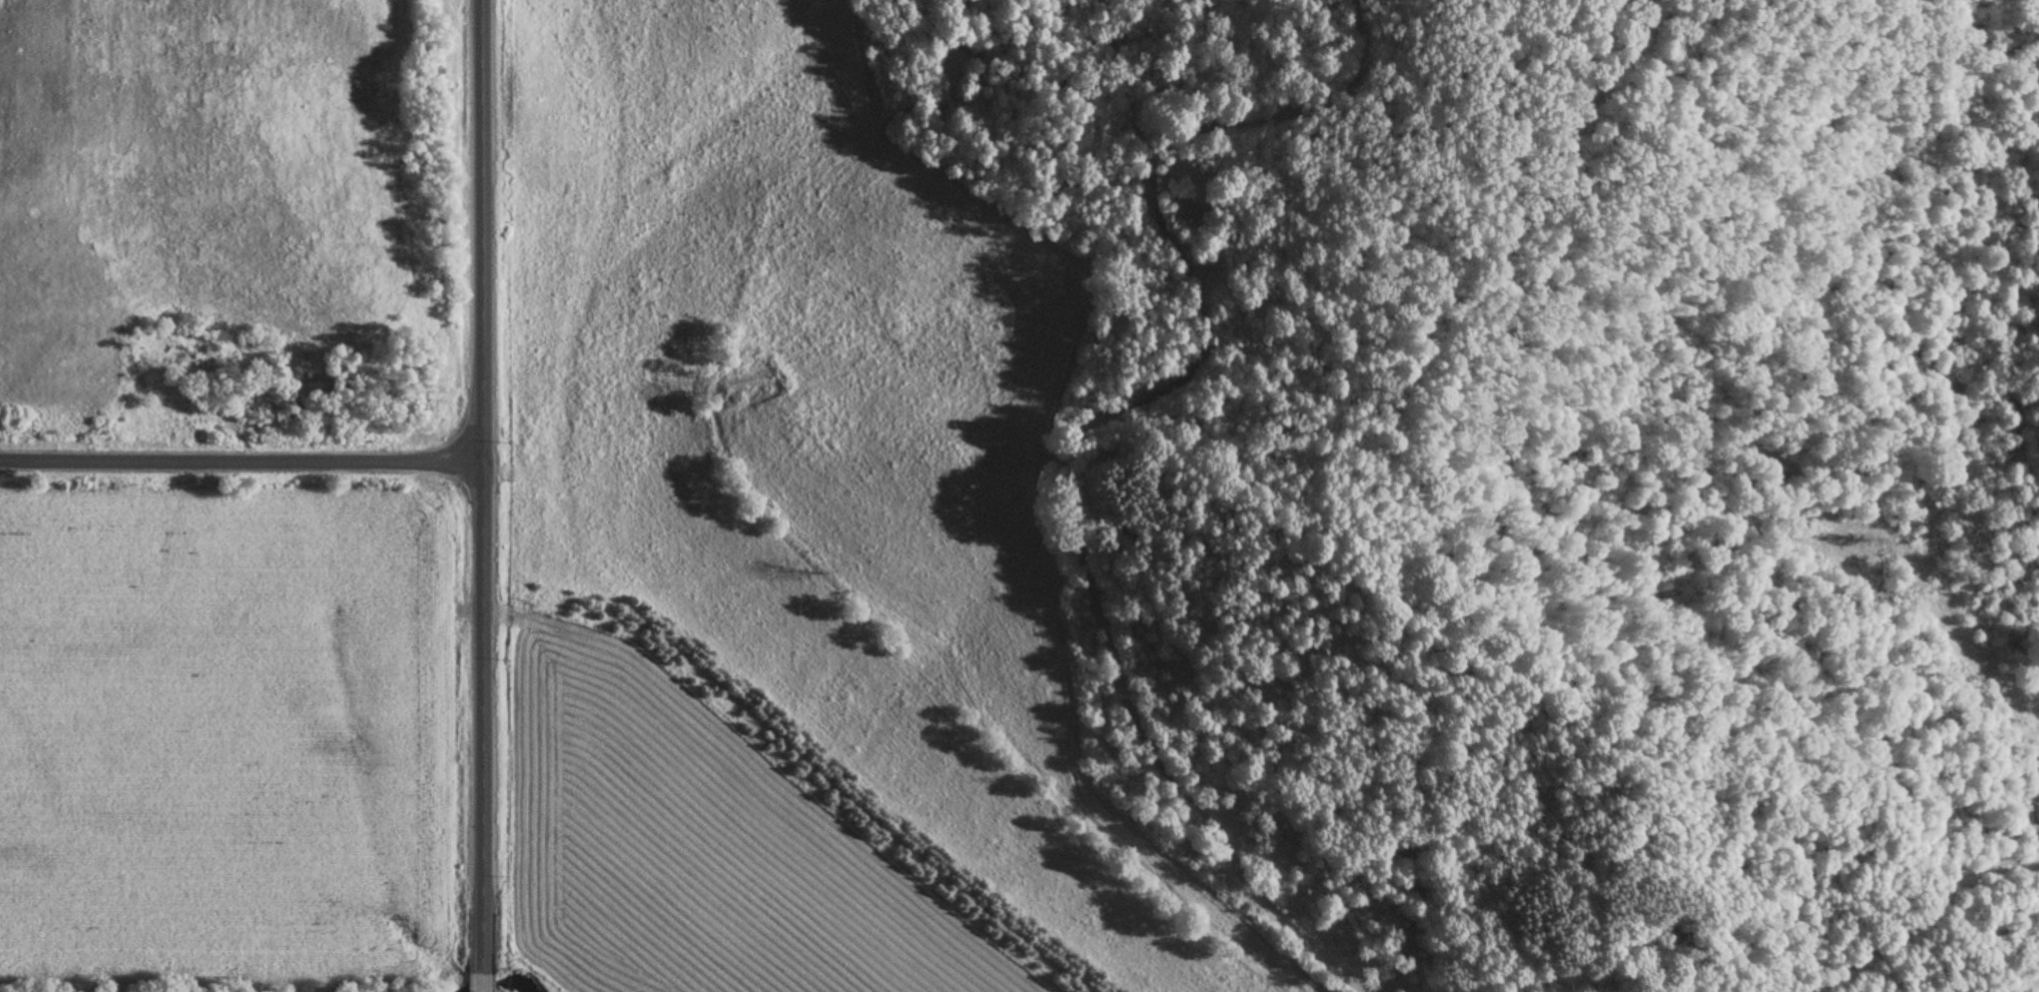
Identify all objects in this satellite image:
road: (240, 454)
road: (481, 495)
road: (1265, 905)

